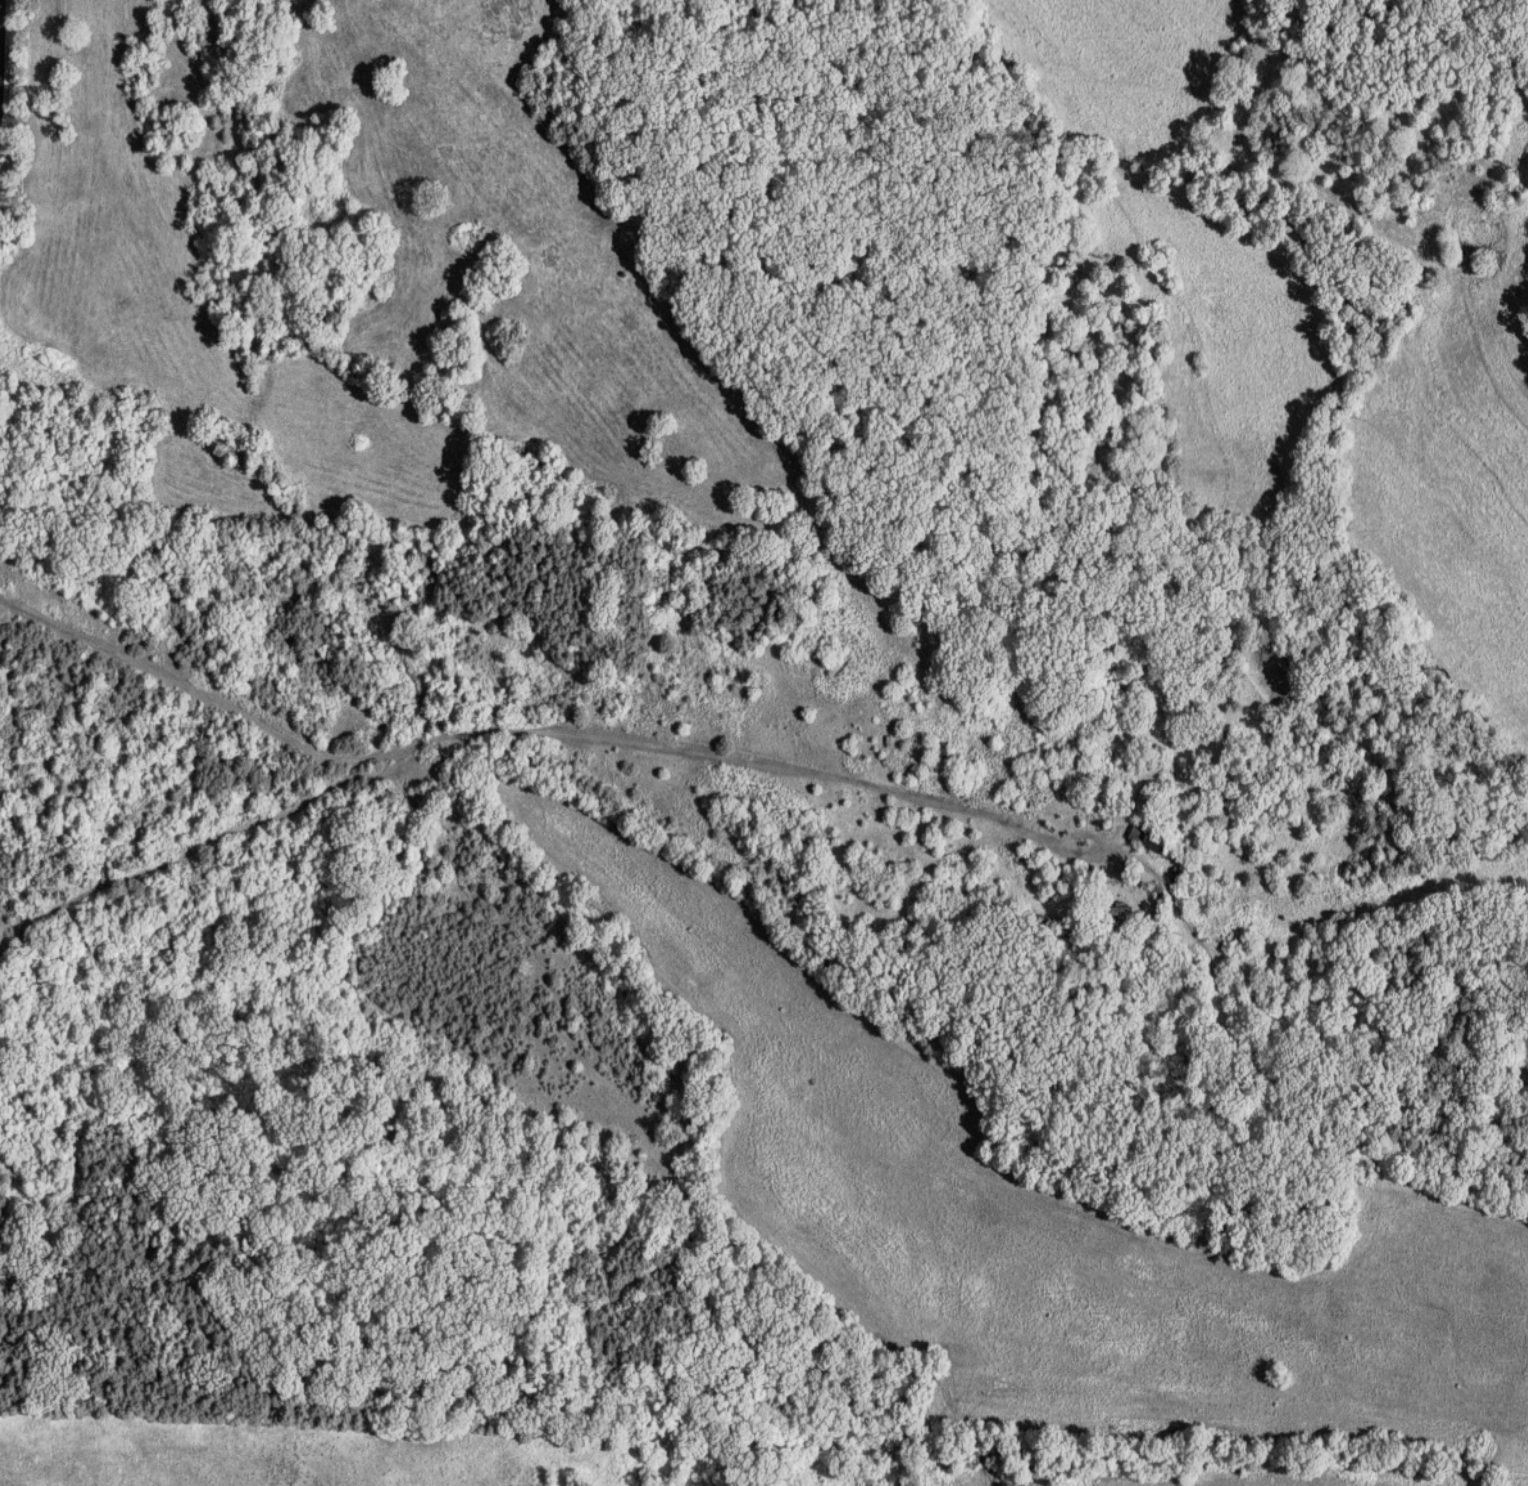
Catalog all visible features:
road: (1, 48)
road: (542, 726)
building: (1154, 839)
building: (1183, 874)
building: (1127, 916)
building: (1057, 925)

